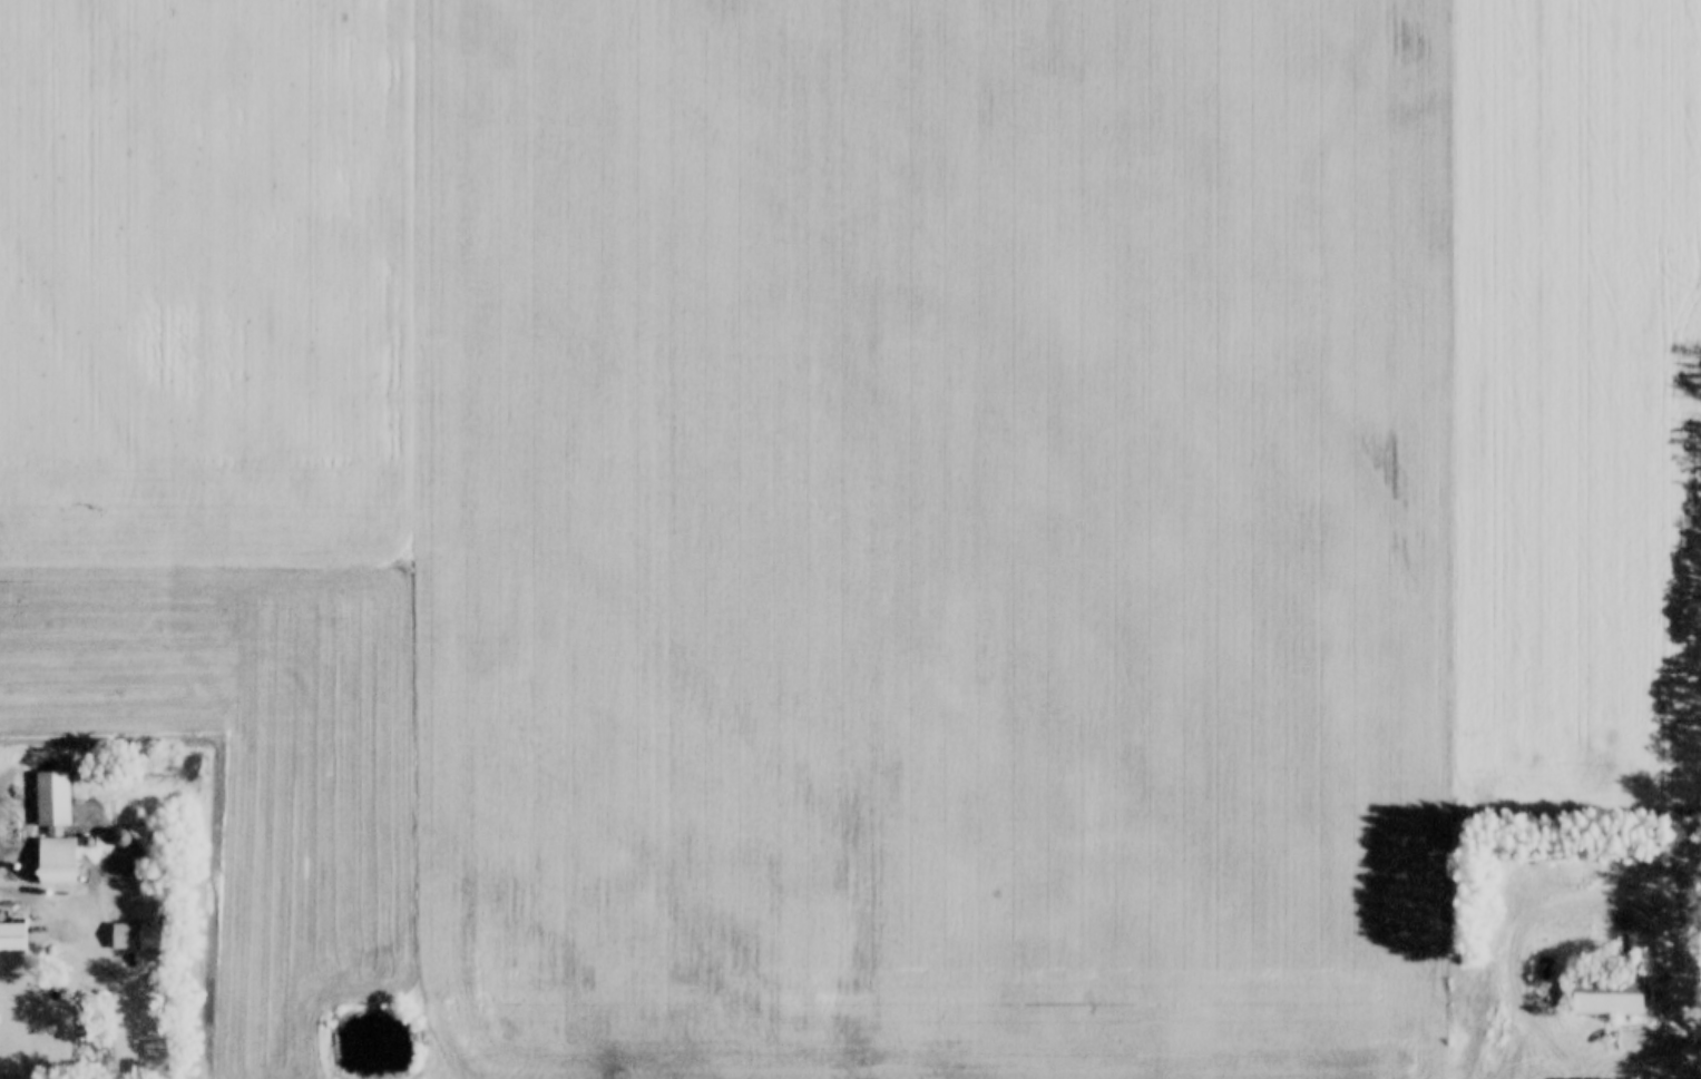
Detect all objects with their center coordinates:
building: (57, 822)
building: (12, 935)
building: (138, 935)
building: (1611, 992)

